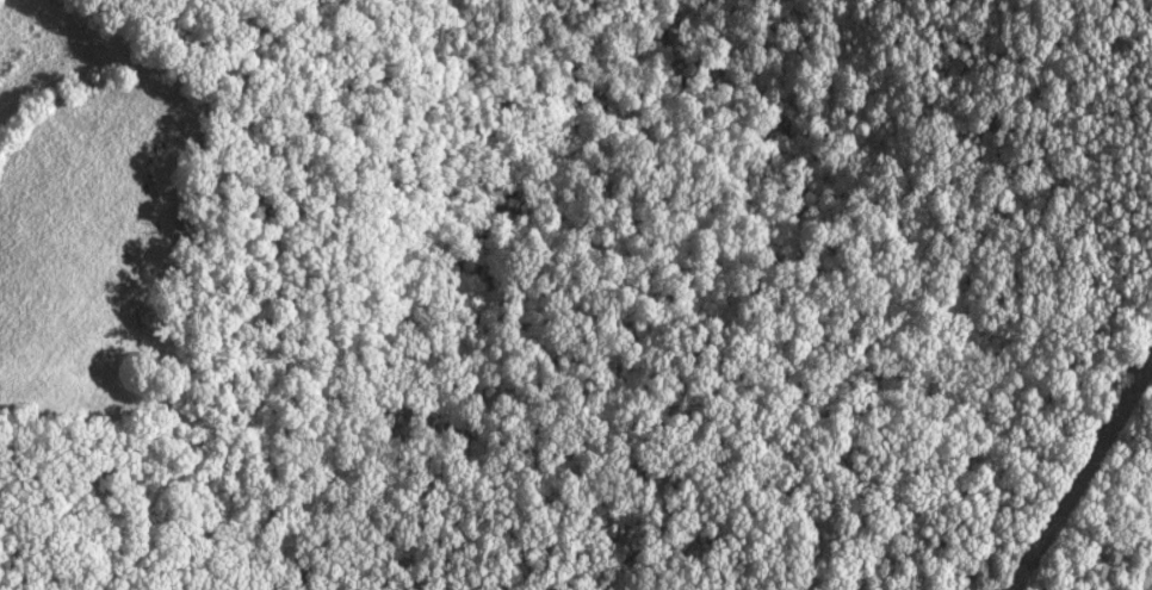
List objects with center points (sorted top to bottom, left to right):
road: (1151, 589)

